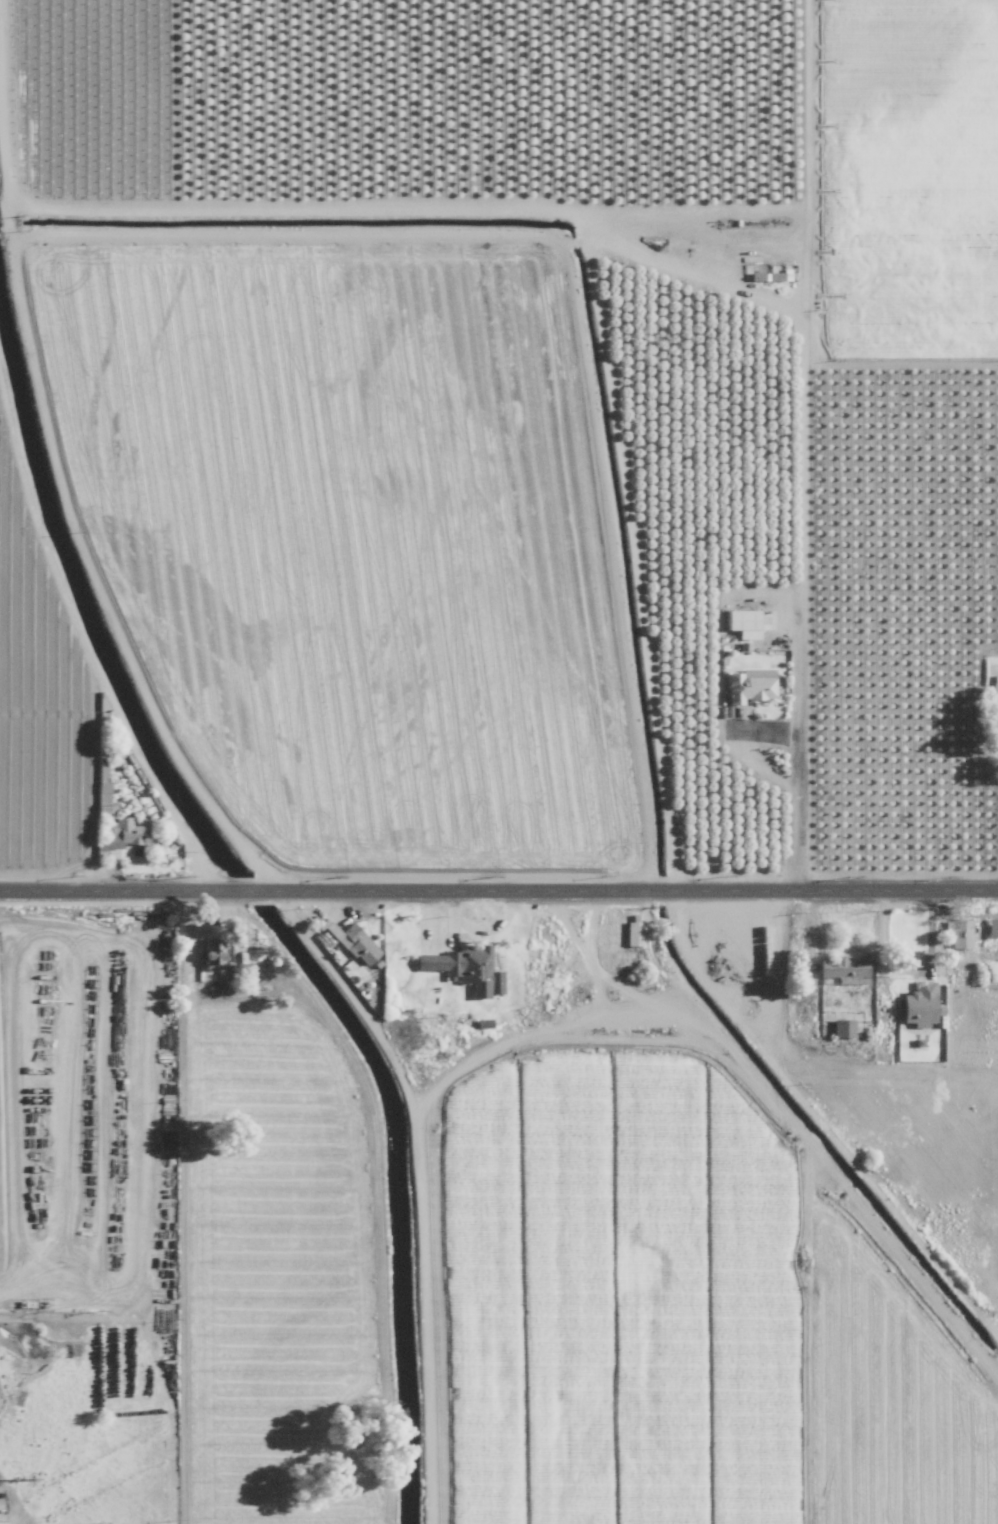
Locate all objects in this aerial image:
road: (627, 256)
crop: (490, 436)
road: (69, 512)
building: (741, 619)
building: (750, 685)
building: (994, 694)
road: (796, 793)
building: (132, 833)
road: (498, 896)
building: (992, 928)
building: (633, 931)
building: (957, 934)
building: (355, 943)
building: (214, 956)
road: (905, 969)
building: (842, 970)
building: (919, 1004)
building: (843, 1028)

